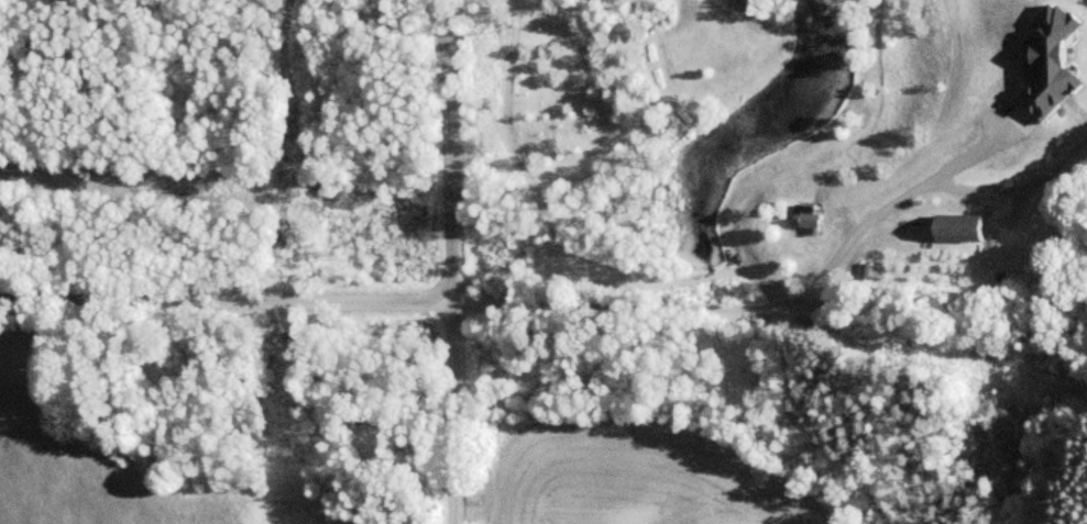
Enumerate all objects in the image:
building: (1051, 67)
road: (443, 148)
building: (813, 215)
building: (968, 226)
road: (226, 291)
road: (755, 309)
road: (449, 410)

